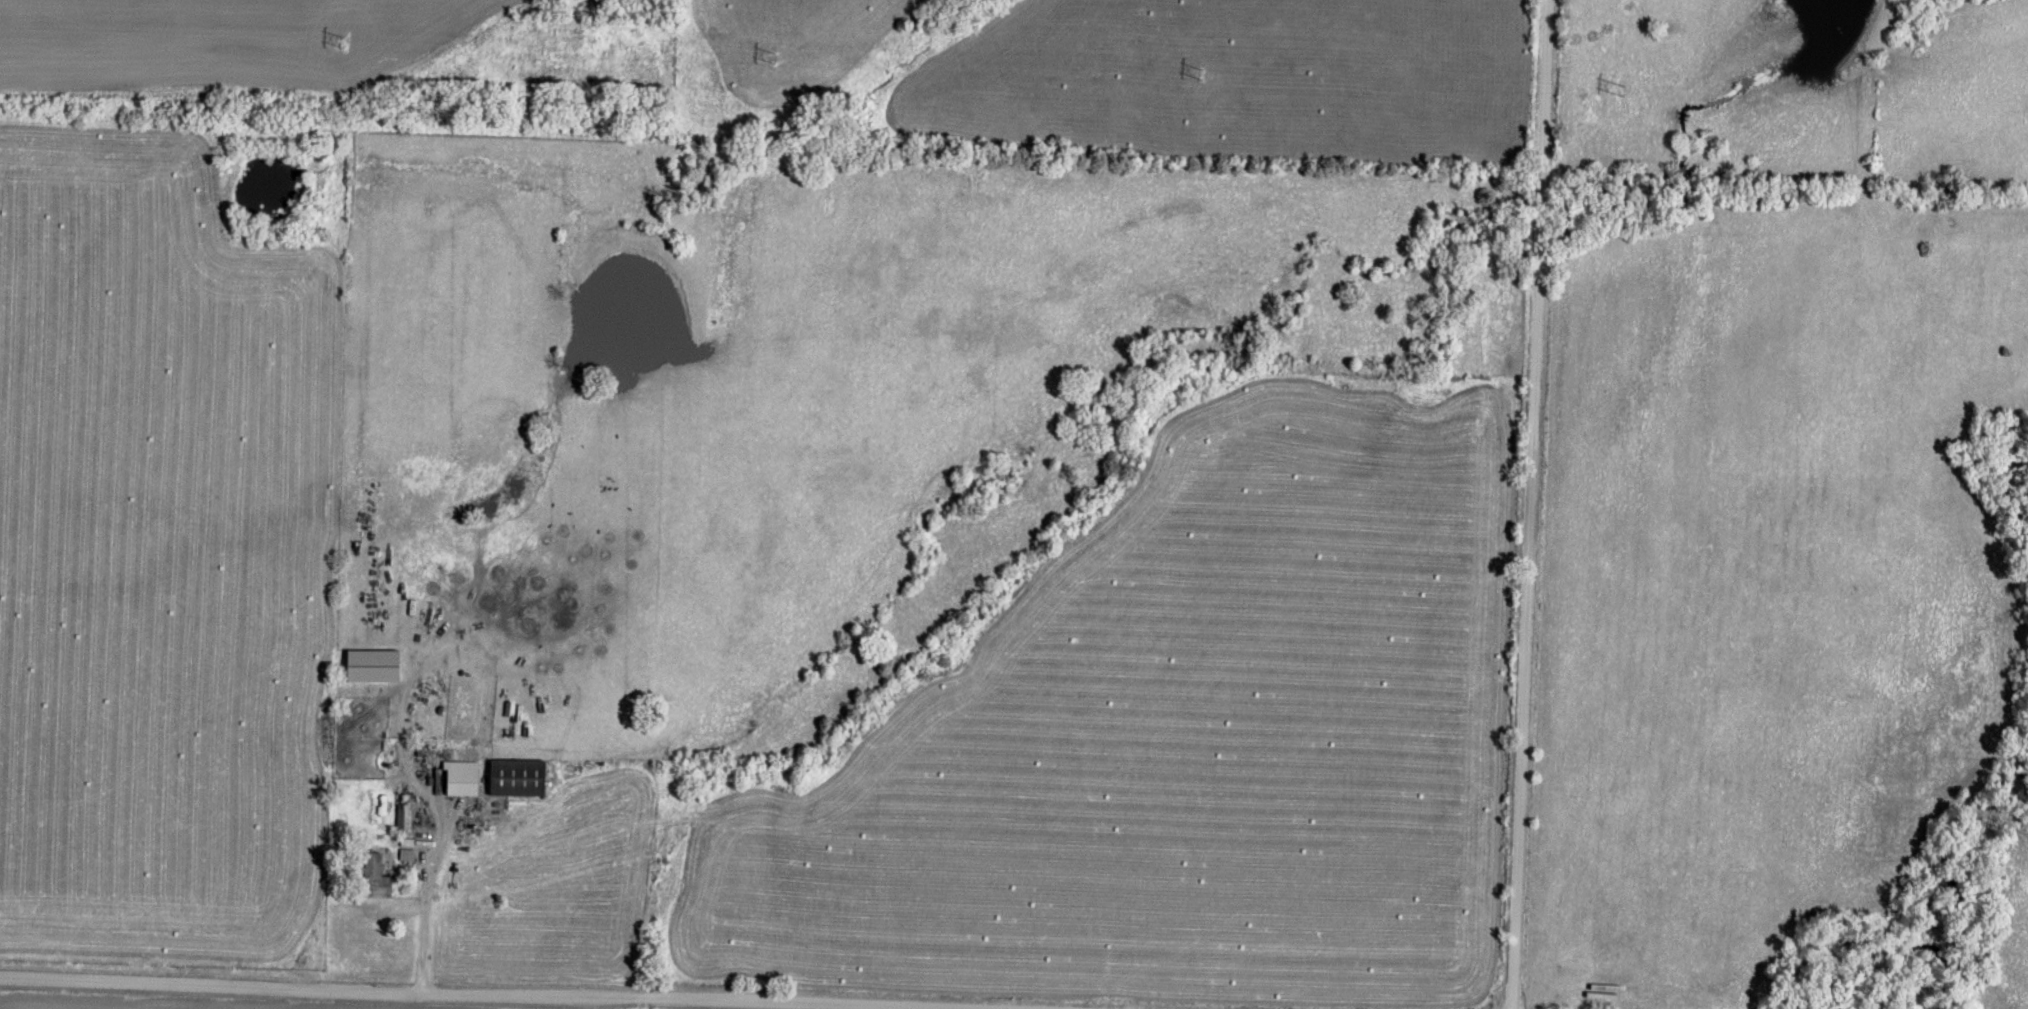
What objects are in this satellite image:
power tower: (343, 42)
power tower: (773, 58)
power tower: (1201, 70)
power tower: (1618, 85)
road: (1532, 504)
building: (370, 663)
building: (514, 774)
building: (459, 775)
building: (405, 852)
building: (374, 874)
road: (425, 878)
road: (457, 996)

